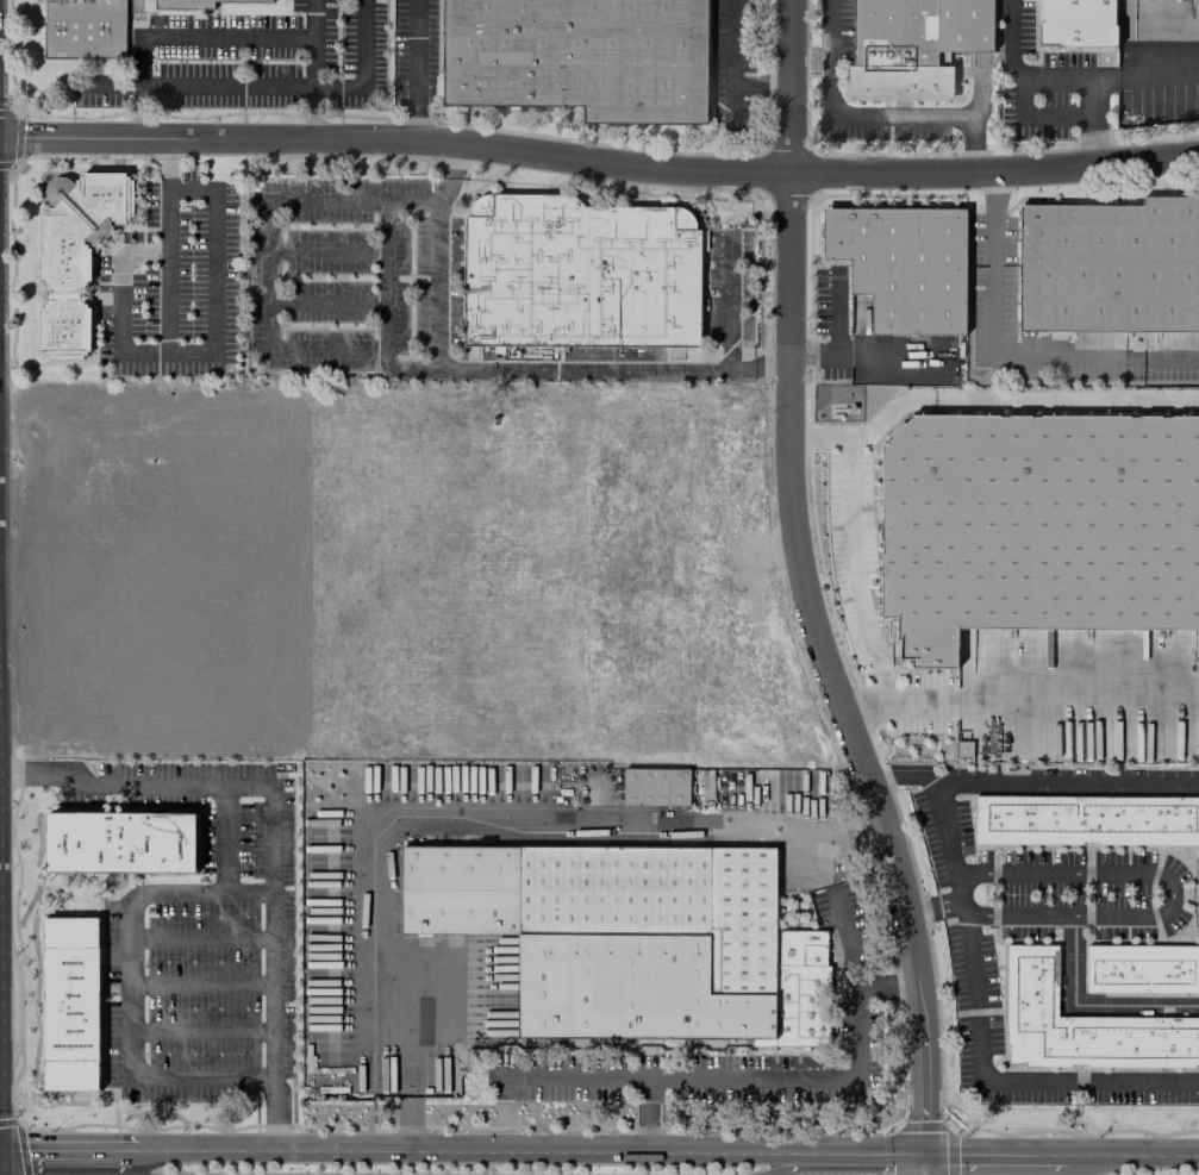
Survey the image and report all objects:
building: (254, 0)
building: (183, 4)
building: (1079, 23)
building: (85, 30)
road: (179, 37)
building: (913, 45)
building: (581, 57)
parking lot: (255, 61)
road: (733, 63)
road: (316, 67)
road: (418, 68)
road: (1068, 82)
road: (263, 87)
road: (763, 87)
road: (868, 115)
road: (1039, 119)
road: (1093, 123)
road: (599, 161)
road: (792, 182)
road: (325, 252)
building: (75, 254)
building: (905, 265)
building: (1111, 267)
building: (580, 275)
road: (387, 276)
road: (438, 283)
road: (730, 299)
road: (326, 301)
road: (120, 302)
road: (345, 349)
road: (868, 354)
road: (188, 355)
road: (1004, 358)
road: (1016, 396)
building: (1037, 525)
road: (853, 565)
road: (800, 575)
road: (1043, 705)
road: (906, 775)
road: (137, 780)
road: (1019, 782)
building: (656, 787)
road: (446, 815)
building: (1086, 820)
road: (842, 824)
building: (120, 842)
road: (1166, 910)
road: (202, 937)
building: (632, 938)
road: (847, 938)
road: (276, 954)
building: (1142, 969)
road: (923, 970)
road: (202, 986)
road: (129, 988)
building: (70, 1005)
road: (1091, 1005)
building: (1082, 1024)
road: (202, 1033)
road: (755, 1074)
road: (1005, 1080)
road: (644, 1114)
road: (279, 1137)
road: (63, 1148)
road: (666, 1154)
road: (6, 1171)

